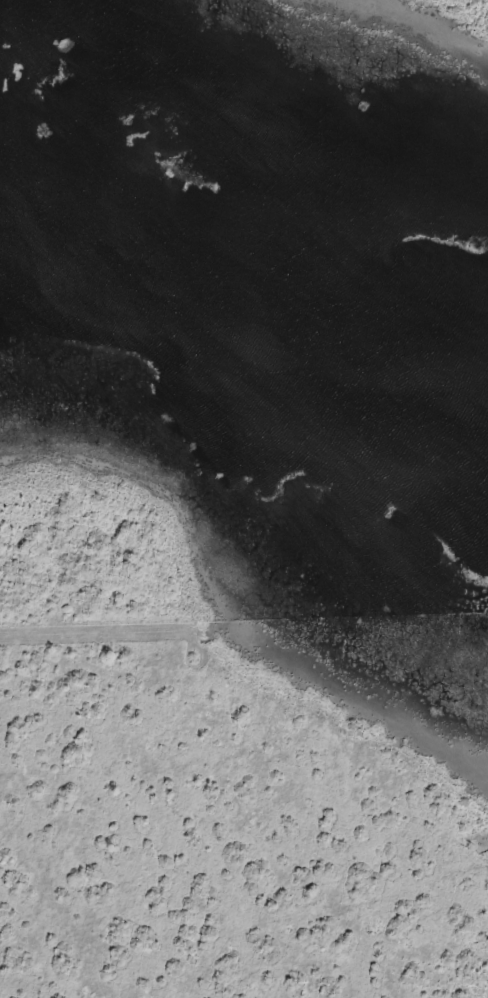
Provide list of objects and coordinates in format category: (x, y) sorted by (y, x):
road: (52, 882)

